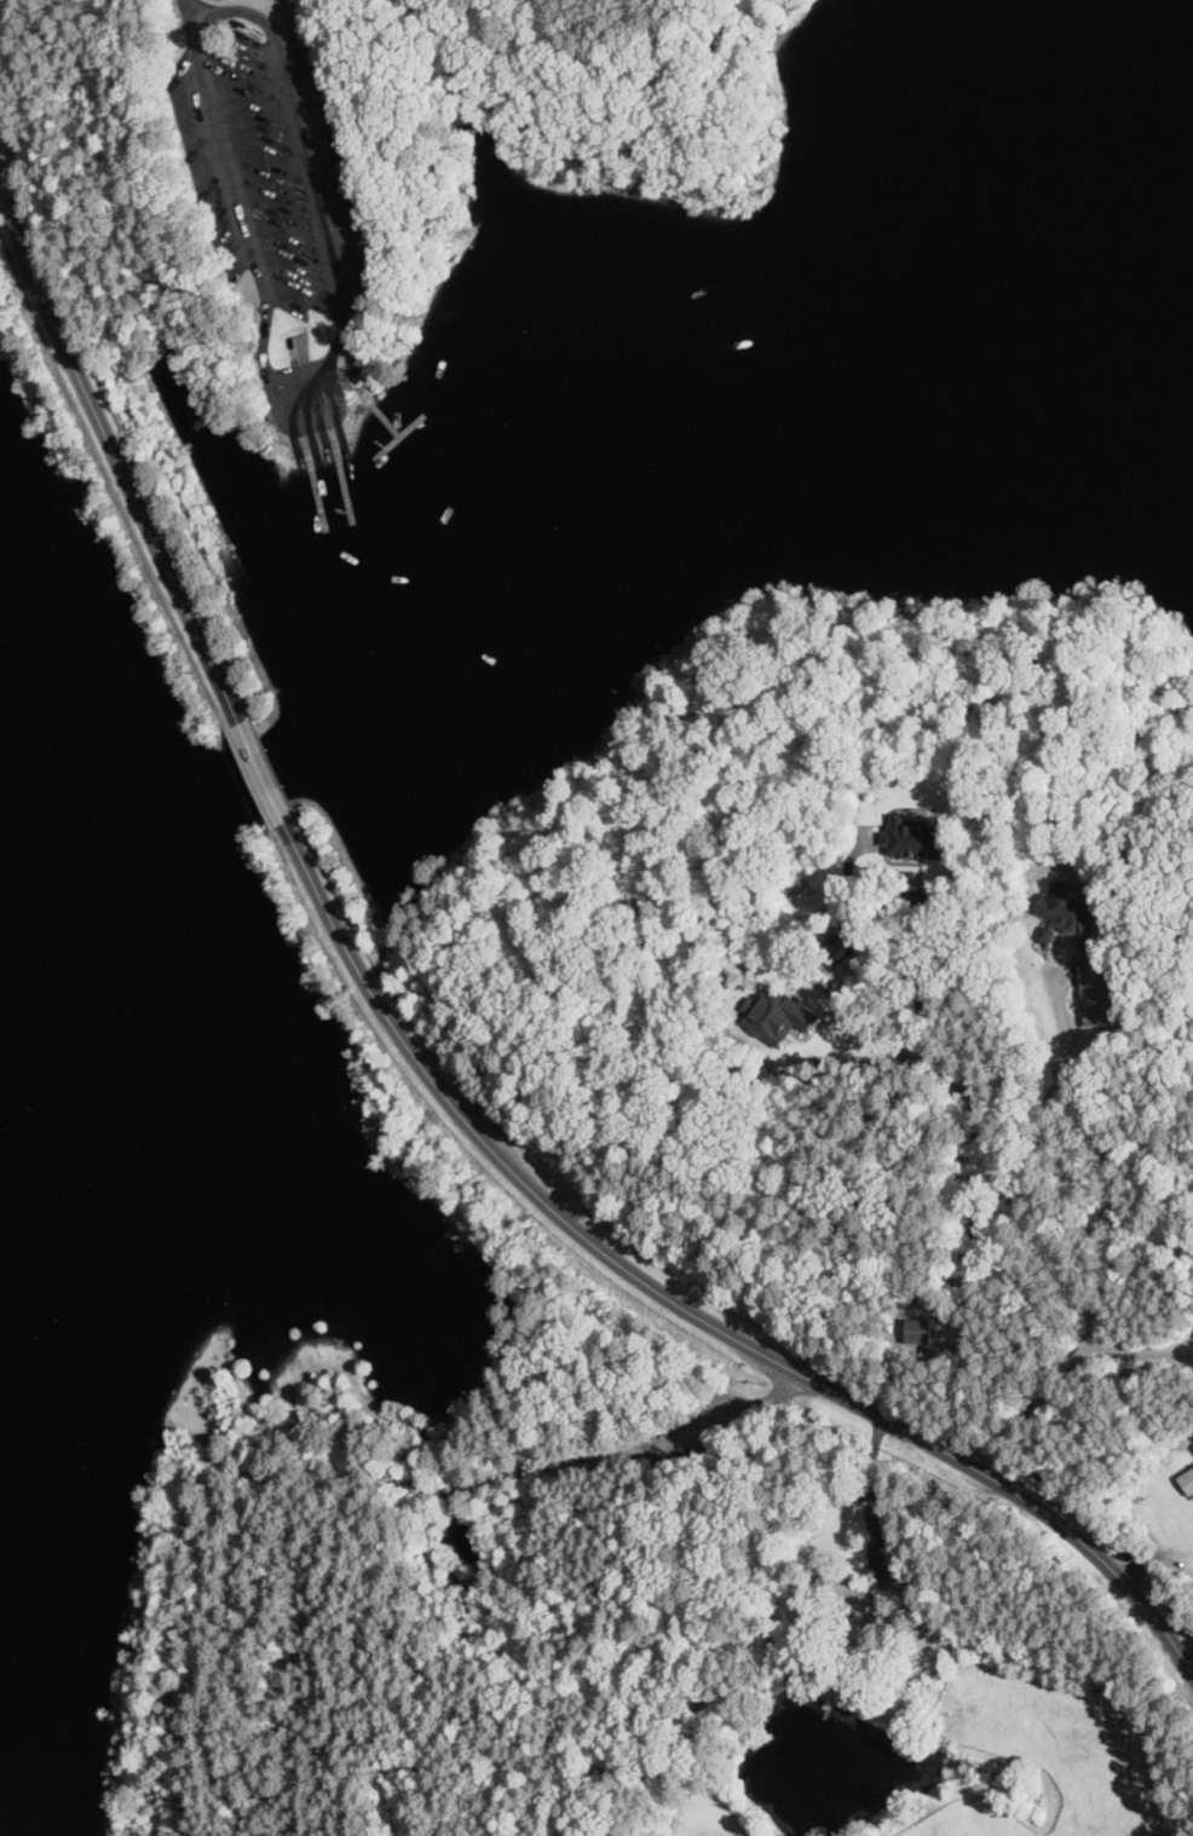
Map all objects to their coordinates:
road: (248, 10)
parking lot: (275, 166)
road: (296, 385)
road: (352, 387)
pier: (380, 412)
road: (338, 416)
road: (323, 421)
road: (311, 423)
road: (292, 427)
pier: (399, 435)
road: (114, 449)
pier: (338, 452)
pier: (311, 458)
road: (763, 756)
road: (263, 772)
building: (916, 837)
building: (1067, 917)
road: (362, 971)
building: (1095, 995)
park: (546, 1000)
building: (777, 1014)
road: (899, 1040)
road: (975, 1087)
road: (1119, 1222)
road: (1137, 1352)
road: (829, 1386)
building: (1187, 1479)
building: (849, 1597)
road: (956, 1624)
pier: (828, 1709)

